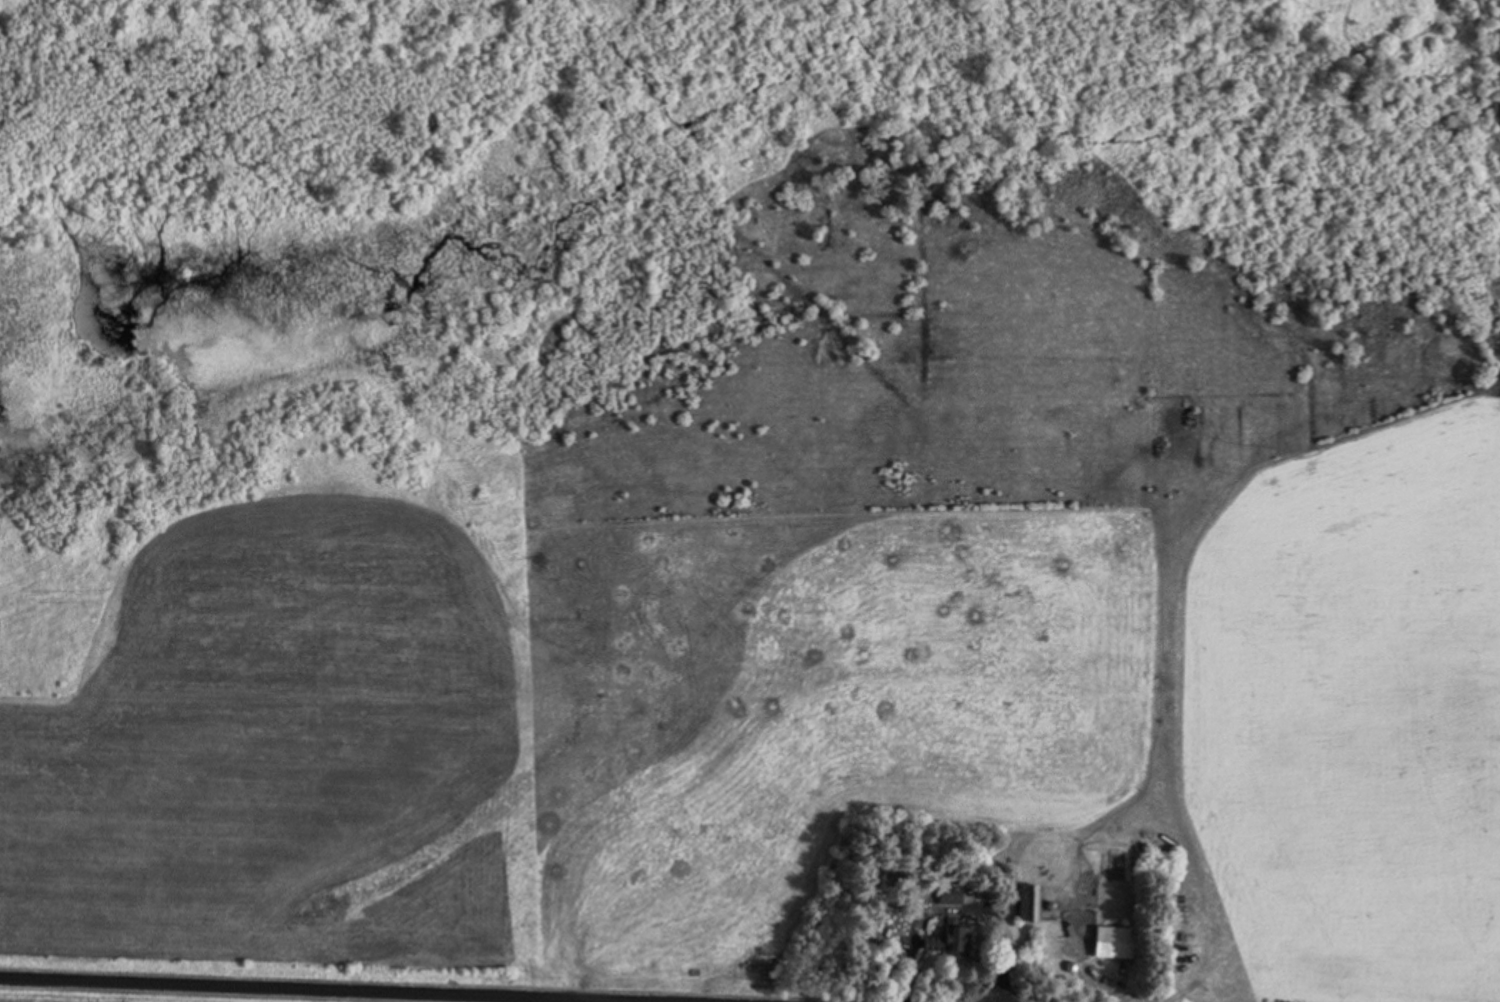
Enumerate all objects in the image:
road: (254, 993)

